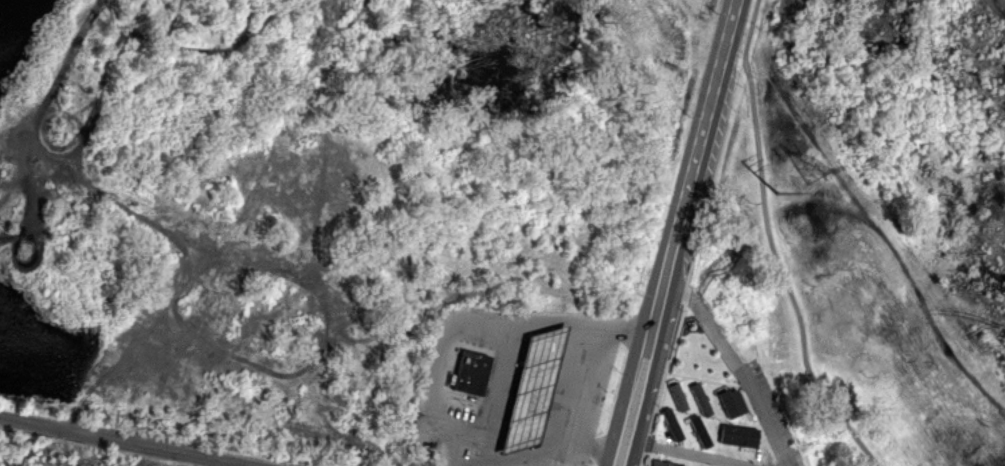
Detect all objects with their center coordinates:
road: (1001, 3)
road: (749, 30)
road: (701, 153)
power tower: (815, 168)
power tower: (777, 193)
road: (783, 274)
road: (515, 337)
road: (440, 358)
road: (737, 365)
building: (470, 373)
road: (625, 383)
road: (650, 387)
building: (699, 399)
building: (730, 402)
building: (670, 424)
road: (551, 429)
building: (698, 431)
building: (737, 435)
road: (125, 443)
road: (690, 453)
building: (663, 463)

